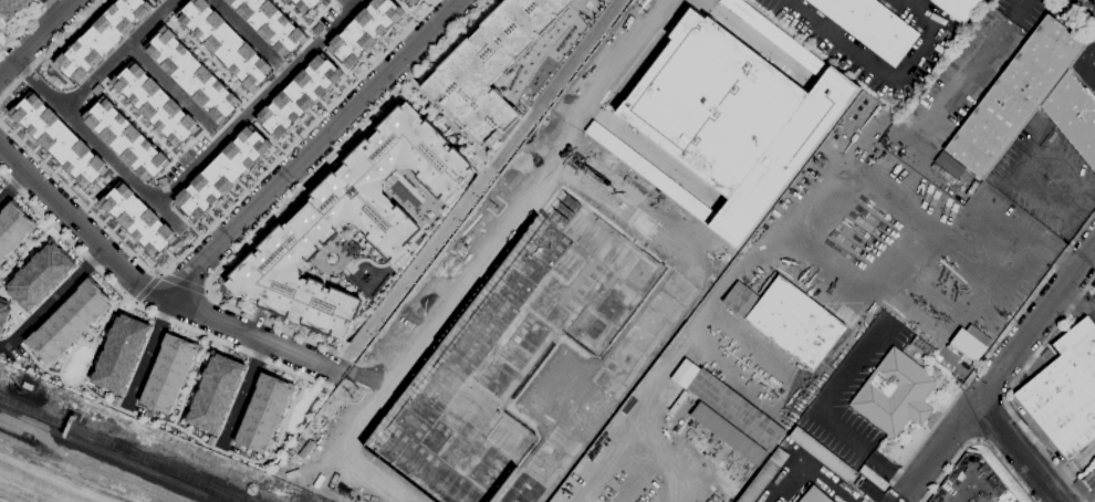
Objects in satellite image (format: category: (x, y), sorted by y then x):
building: (157, 0)
building: (409, 2)
road: (909, 2)
road: (348, 3)
road: (157, 4)
road: (58, 7)
building: (11, 8)
building: (959, 8)
road: (406, 9)
road: (1083, 13)
road: (301, 19)
building: (277, 21)
road: (23, 22)
building: (872, 25)
road: (244, 30)
building: (363, 31)
road: (4, 33)
building: (101, 38)
road: (39, 39)
building: (225, 43)
road: (48, 48)
road: (117, 54)
road: (1089, 55)
road: (207, 59)
road: (335, 60)
building: (490, 66)
road: (609, 70)
road: (1089, 70)
road: (968, 71)
building: (192, 73)
road: (880, 79)
road: (170, 84)
building: (1015, 95)
building: (298, 97)
road: (258, 101)
building: (155, 103)
building: (1074, 114)
building: (733, 116)
road: (446, 122)
road: (142, 123)
road: (264, 133)
building: (126, 138)
building: (61, 142)
road: (97, 143)
road: (316, 148)
road: (644, 149)
building: (950, 164)
building: (943, 172)
building: (221, 175)
road: (12, 184)
road: (856, 189)
road: (283, 201)
road: (219, 215)
building: (137, 219)
building: (350, 221)
building: (12, 228)
road: (1007, 230)
parking lot: (859, 234)
road: (24, 248)
parking lot: (995, 252)
road: (158, 273)
building: (39, 275)
road: (163, 276)
road: (856, 282)
road: (148, 289)
road: (205, 290)
road: (52, 297)
road: (664, 307)
road: (145, 308)
parking lot: (841, 310)
building: (3, 312)
road: (105, 318)
building: (788, 318)
building: (69, 321)
road: (690, 323)
road: (418, 330)
road: (11, 334)
road: (843, 339)
building: (971, 342)
road: (995, 344)
building: (515, 347)
building: (118, 353)
road: (147, 354)
road: (1003, 366)
building: (168, 373)
road: (359, 374)
road: (192, 381)
road: (63, 383)
building: (28, 385)
road: (1009, 389)
building: (1065, 391)
building: (213, 393)
building: (895, 393)
road: (240, 395)
road: (790, 397)
road: (1004, 401)
building: (736, 409)
building: (262, 412)
railway: (74, 427)
building: (729, 433)
road: (978, 439)
road: (979, 441)
road: (211, 447)
road: (862, 450)
road: (1019, 451)
railway: (112, 454)
road: (663, 460)
road: (807, 464)
road: (601, 467)
building: (1091, 479)
railway: (192, 480)
railway: (199, 480)
building: (872, 491)
road: (905, 493)
building: (815, 495)

